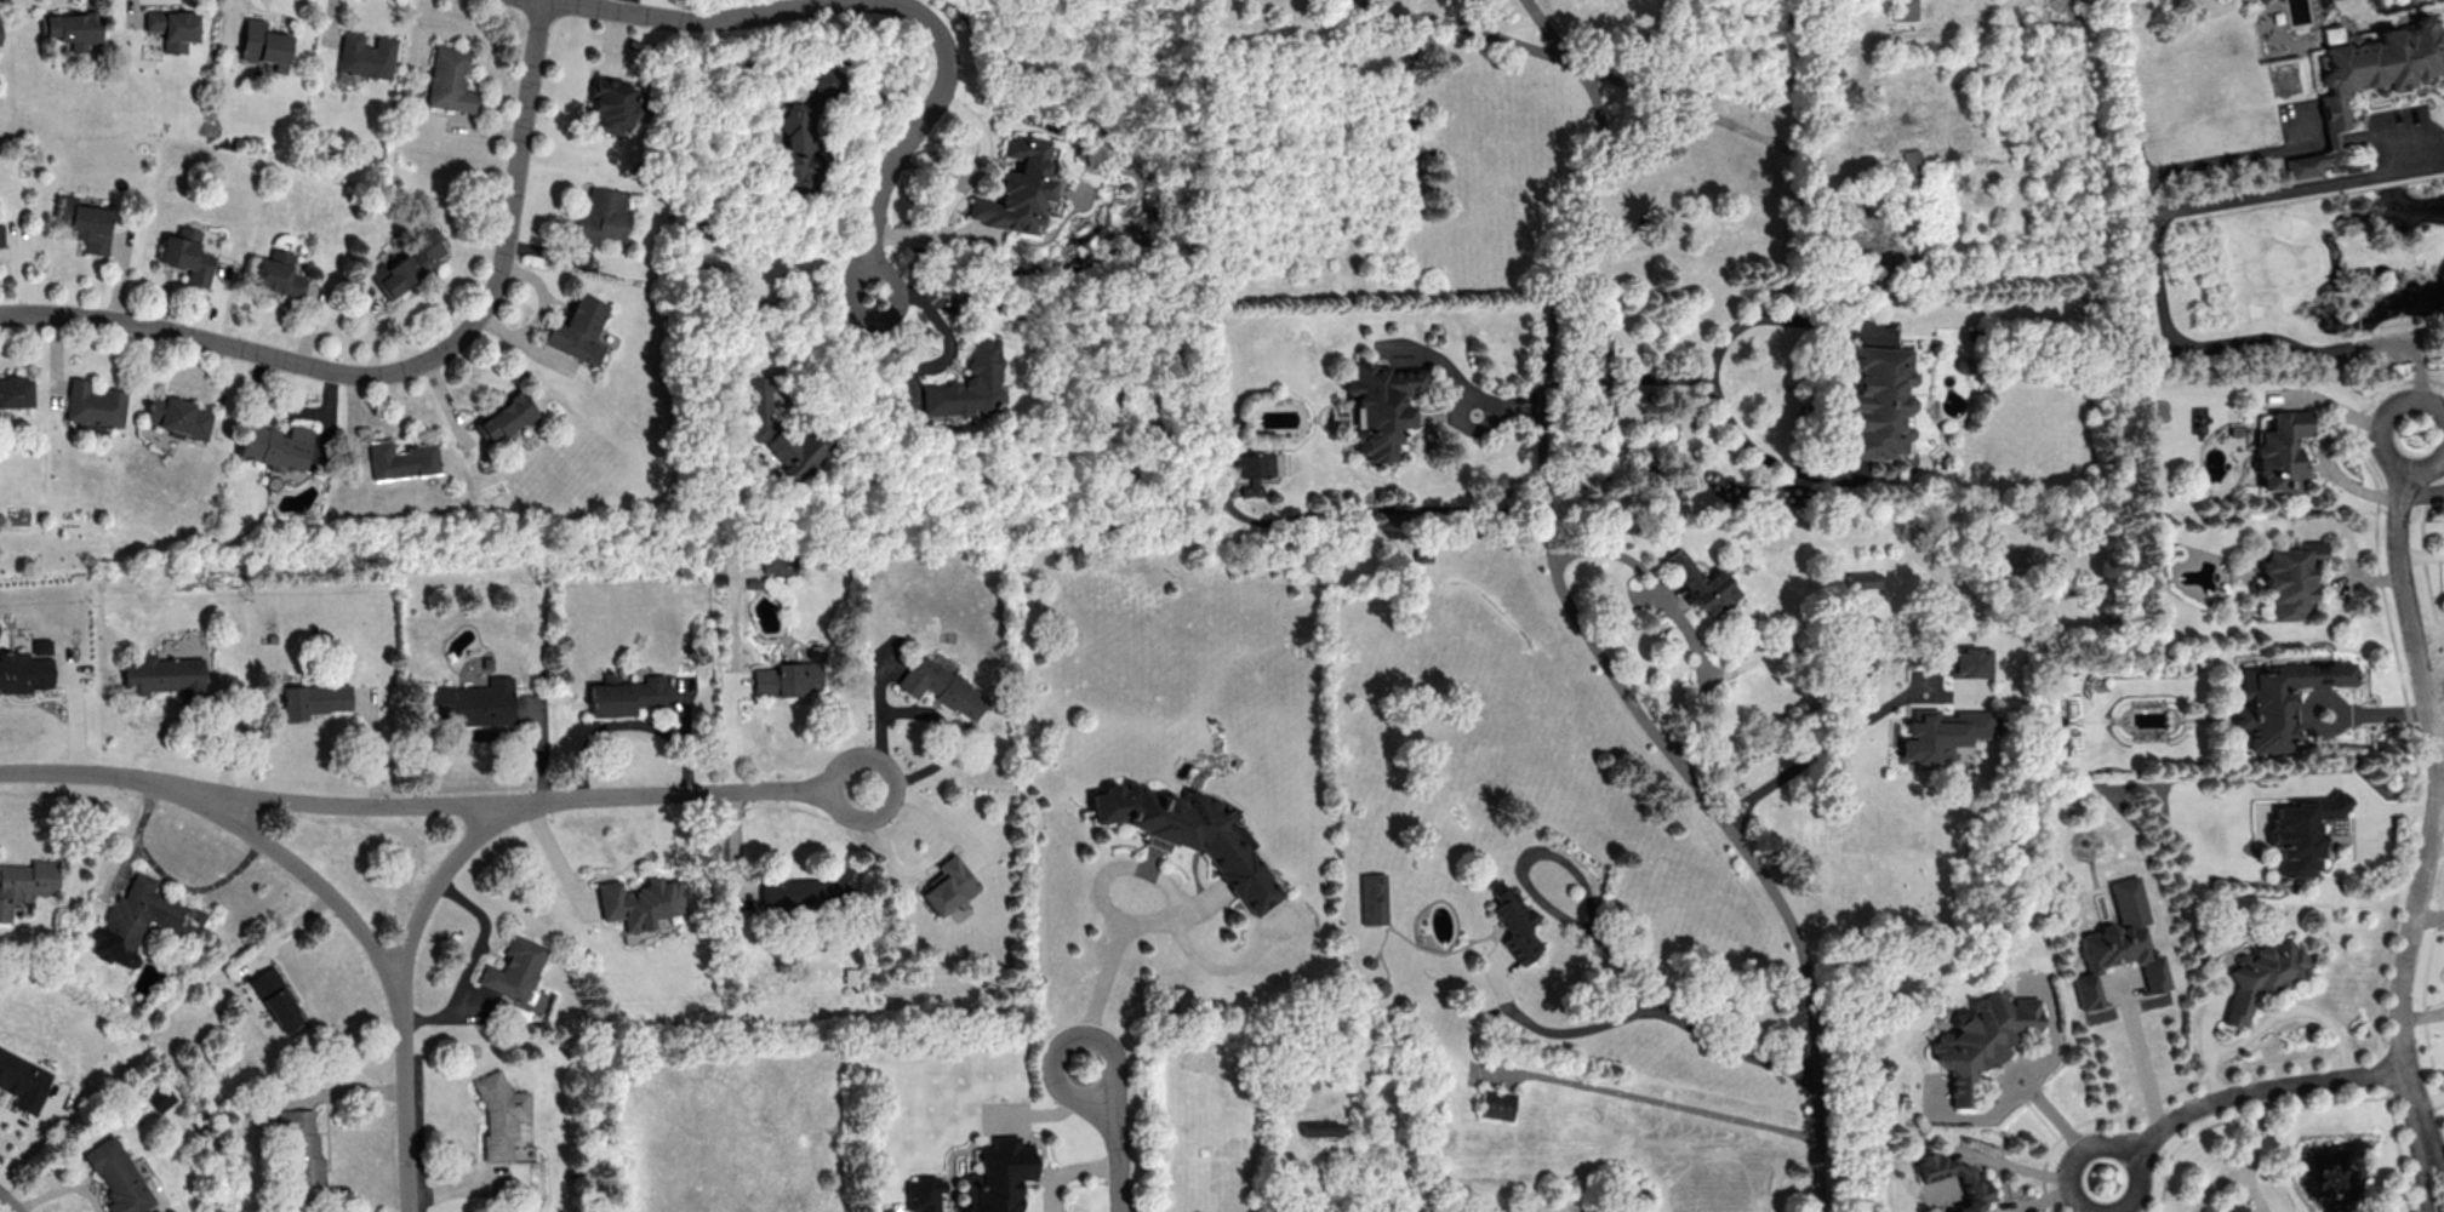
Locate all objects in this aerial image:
road: (889, 6)
building: (1903, 8)
building: (74, 28)
building: (173, 28)
road: (1464, 28)
road: (1551, 33)
building: (265, 44)
building: (365, 57)
building: (2368, 75)
road: (1612, 79)
building: (451, 80)
building: (613, 104)
road: (1599, 107)
road: (2134, 113)
road: (1731, 125)
building: (805, 131)
road: (2228, 160)
building: (1912, 166)
building: (1018, 188)
building: (603, 216)
building: (87, 223)
building: (1, 235)
building: (188, 255)
building: (407, 261)
building: (278, 274)
road: (2166, 311)
building: (579, 330)
road: (936, 360)
road: (1708, 364)
road: (406, 366)
building: (969, 383)
road: (1466, 394)
building: (1880, 401)
building: (95, 404)
building: (764, 406)
building: (178, 416)
building: (507, 418)
building: (276, 446)
building: (2282, 451)
road: (1761, 452)
building: (401, 459)
building: (1263, 464)
road: (1378, 507)
road: (1547, 541)
road: (1622, 558)
building: (780, 564)
building: (2292, 577)
building: (1700, 581)
building: (41, 646)
building: (24, 671)
building: (165, 675)
building: (788, 678)
building: (943, 687)
building: (627, 694)
building: (2280, 698)
building: (315, 699)
building: (478, 702)
road: (931, 715)
road: (476, 730)
road: (1818, 749)
road: (2438, 776)
road: (701, 791)
road: (267, 800)
building: (2302, 831)
building: (1188, 835)
road: (937, 851)
road: (558, 861)
building: (27, 885)
building: (949, 885)
road: (435, 890)
building: (811, 890)
building: (640, 902)
building: (141, 921)
building: (1515, 925)
road: (1603, 944)
road: (372, 947)
road: (468, 962)
building: (515, 968)
building: (2262, 977)
road: (1102, 978)
road: (1558, 1030)
building: (1985, 1037)
road: (2146, 1062)
road: (1811, 1073)
building: (24, 1080)
road: (2238, 1091)
road: (1663, 1107)
building: (502, 1114)
road: (1119, 1136)
road: (2432, 1138)
building: (304, 1155)
road: (2018, 1165)
road: (2419, 1167)
road: (1066, 1170)
building: (119, 1176)
building: (999, 1176)
building: (1968, 1184)
road: (61, 1190)
building: (925, 1193)
road: (7, 1204)
building: (2233, 1207)

